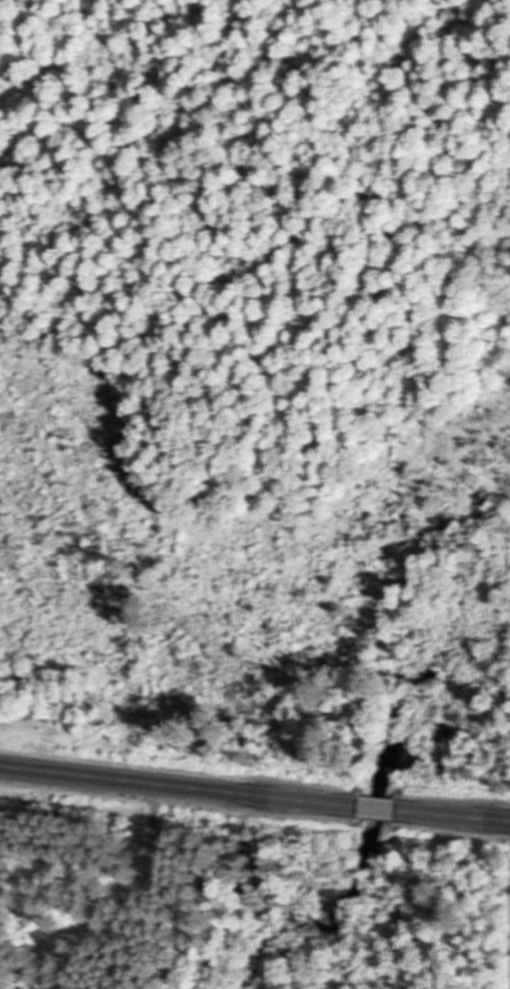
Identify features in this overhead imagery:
road: (179, 785)
road: (376, 808)
road: (452, 815)

